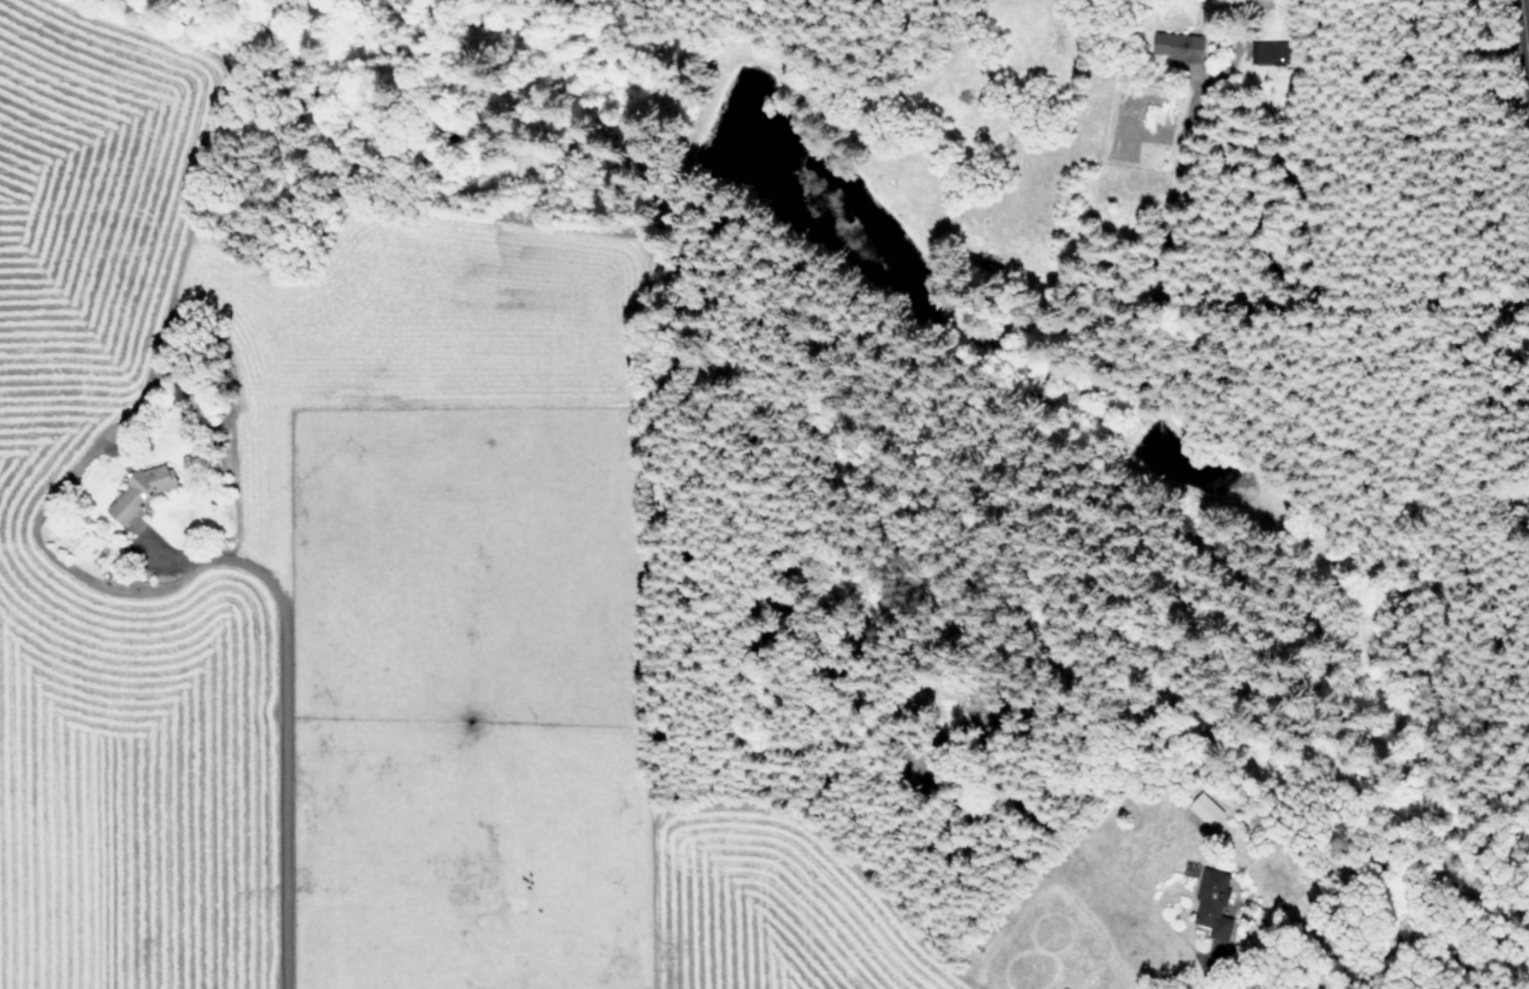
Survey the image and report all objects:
building: (1185, 46)
road: (1522, 49)
building: (1275, 51)
building: (144, 490)
crop: (333, 600)
road: (280, 717)
building: (1205, 808)
building: (1211, 901)
road: (1200, 977)

